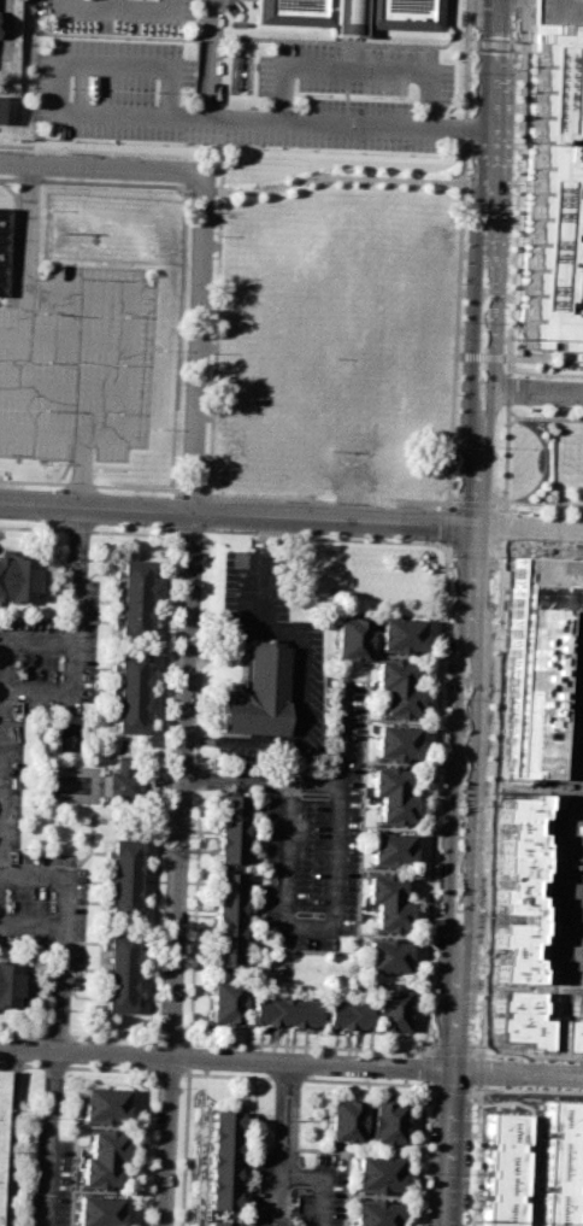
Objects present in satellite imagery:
road: (116, 4)
road: (117, 8)
building: (559, 11)
parking garage: (559, 11)
building: (348, 13)
parking lot: (119, 14)
road: (493, 43)
road: (210, 59)
road: (352, 69)
building: (582, 69)
road: (55, 80)
parking lot: (353, 93)
road: (493, 110)
road: (349, 124)
road: (104, 172)
building: (553, 192)
building: (0, 236)
road: (24, 263)
road: (511, 292)
road: (130, 335)
road: (76, 338)
power tower: (511, 338)
road: (479, 357)
parking lot: (77, 363)
road: (470, 373)
road: (544, 373)
road: (488, 374)
road: (64, 386)
road: (535, 393)
road: (543, 417)
road: (511, 421)
road: (40, 438)
park: (537, 461)
road: (79, 476)
road: (475, 503)
road: (241, 518)
road: (532, 530)
road: (69, 535)
road: (83, 535)
road: (471, 552)
building: (14, 579)
road: (254, 593)
building: (134, 598)
road: (283, 629)
road: (73, 637)
building: (399, 637)
building: (349, 640)
road: (222, 645)
building: (536, 656)
building: (396, 691)
building: (258, 693)
building: (131, 694)
road: (188, 702)
road: (340, 735)
road: (299, 737)
road: (436, 738)
road: (200, 740)
building: (395, 743)
road: (453, 750)
road: (472, 750)
road: (490, 775)
building: (122, 781)
road: (263, 781)
power tower: (494, 793)
building: (391, 797)
building: (229, 831)
building: (390, 850)
building: (123, 879)
building: (524, 885)
building: (387, 902)
road: (60, 907)
building: (225, 921)
road: (307, 925)
building: (385, 957)
building: (119, 972)
building: (6, 984)
building: (223, 1003)
building: (390, 1011)
building: (281, 1014)
building: (343, 1016)
building: (524, 1019)
road: (51, 1027)
road: (61, 1027)
building: (575, 1028)
road: (452, 1049)
road: (479, 1055)
road: (291, 1062)
road: (478, 1070)
building: (0, 1085)
road: (285, 1086)
road: (435, 1087)
road: (452, 1097)
building: (101, 1104)
building: (343, 1120)
building: (385, 1122)
road: (11, 1138)
road: (48, 1138)
road: (476, 1155)
building: (100, 1157)
building: (222, 1158)
building: (559, 1163)
road: (283, 1169)
building: (501, 1171)
building: (377, 1172)
road: (317, 1181)
building: (98, 1210)
building: (376, 1213)
power tower: (476, 1221)
building: (218, 1222)

